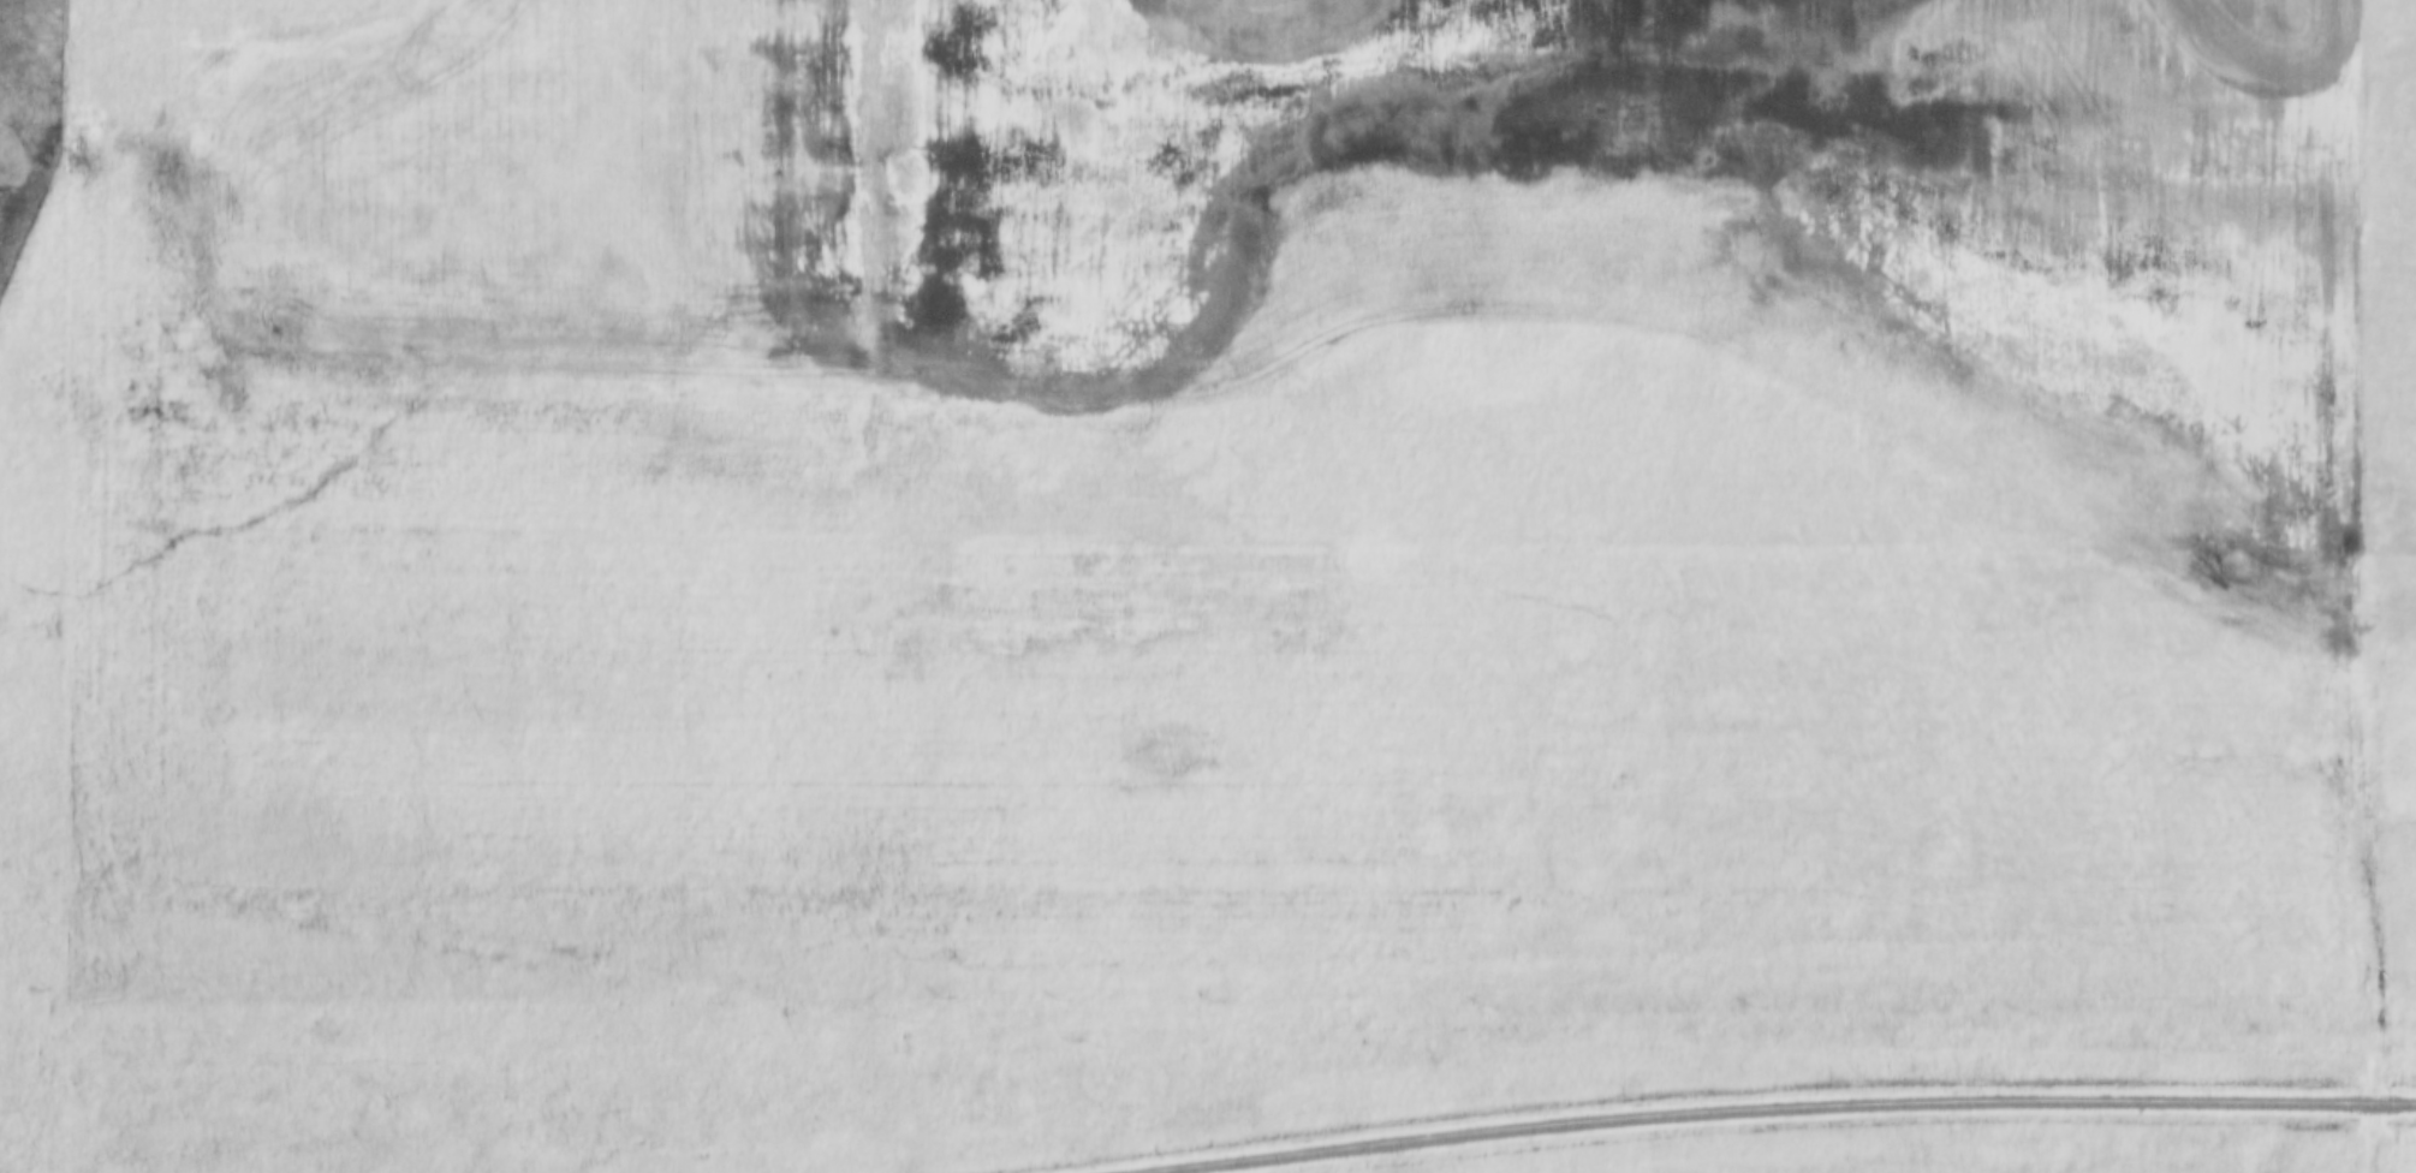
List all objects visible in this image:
road: (2367, 586)
railway: (1777, 1107)

